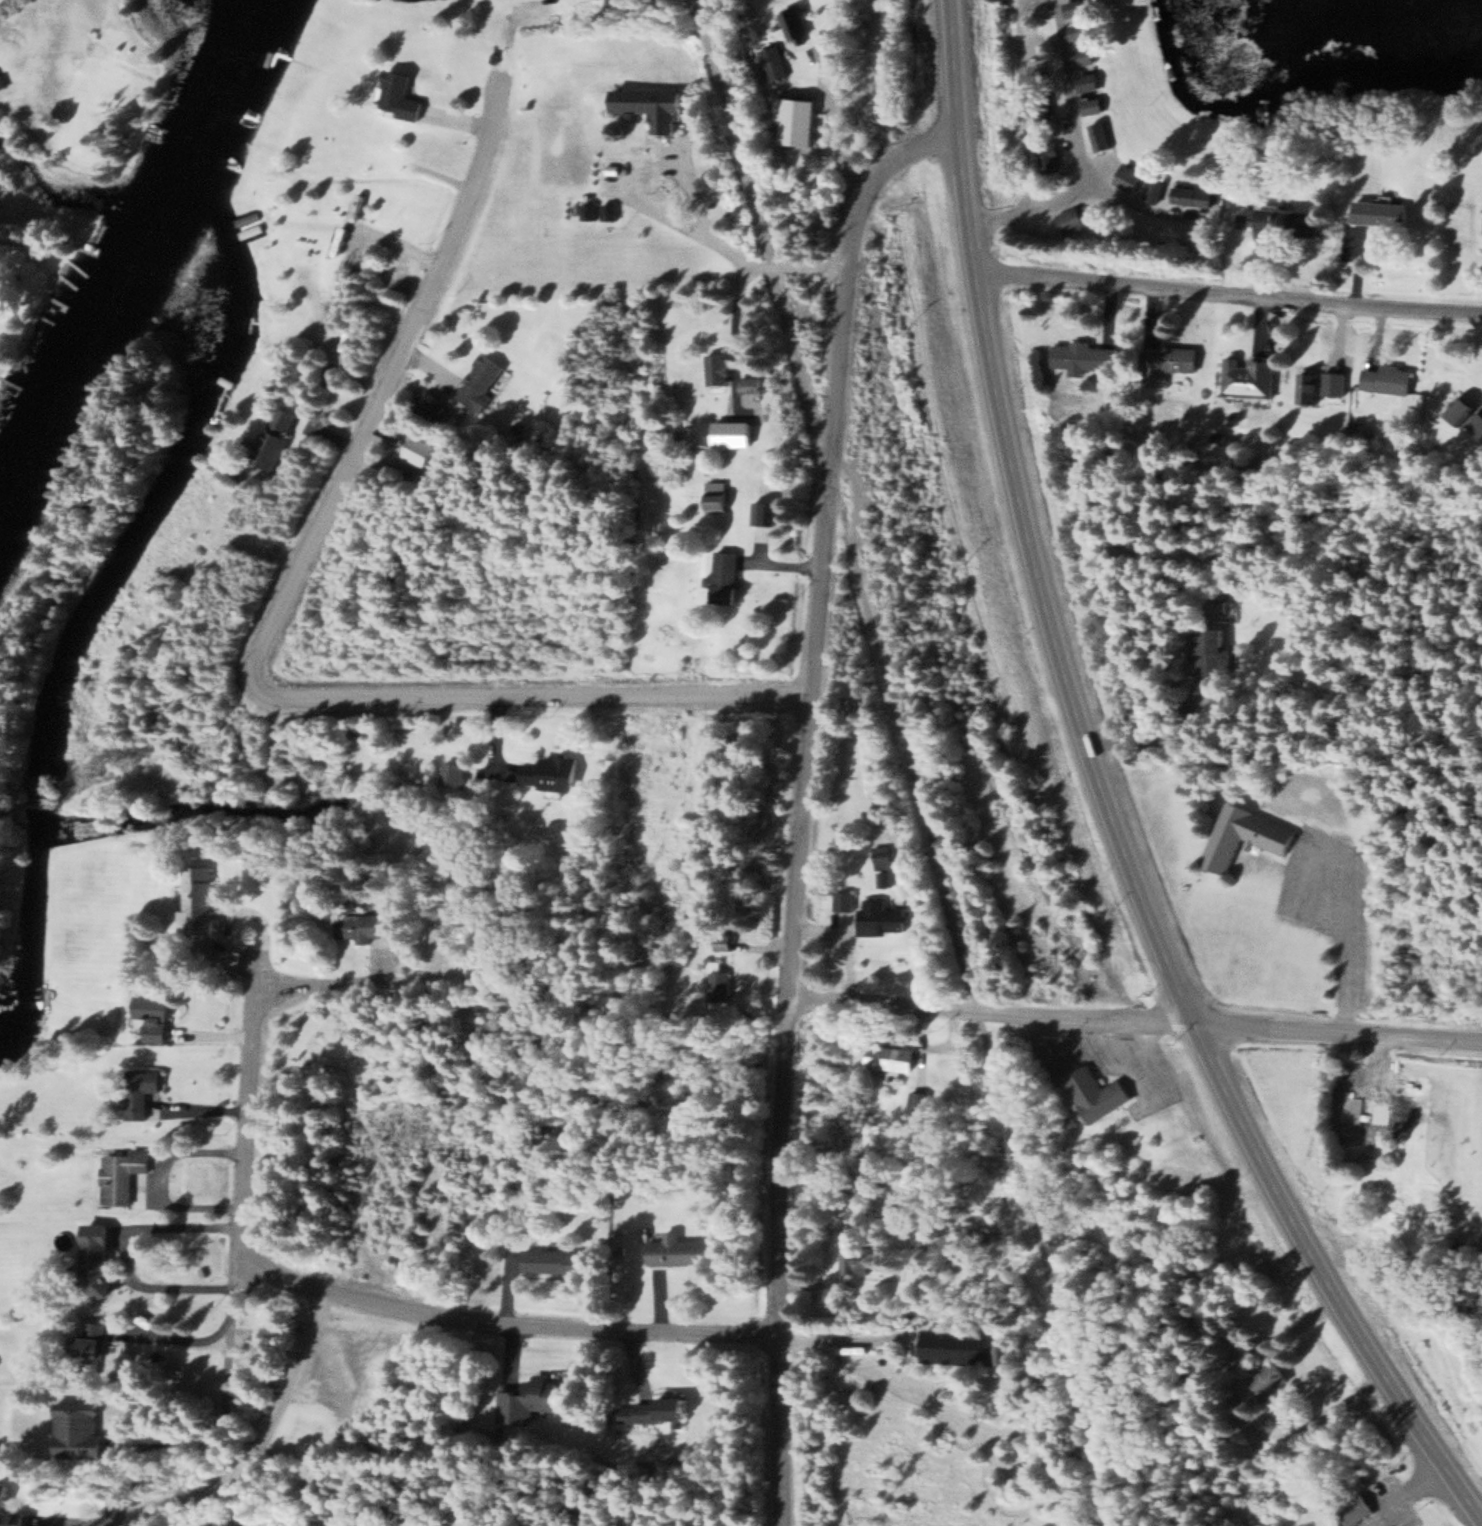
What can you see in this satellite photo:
building: (1077, 16)
building: (770, 59)
building: (1089, 81)
building: (399, 95)
road: (1074, 97)
building: (651, 104)
building: (1094, 104)
road: (1021, 106)
building: (1045, 114)
building: (1103, 135)
building: (1049, 157)
building: (1131, 177)
building: (1156, 189)
building: (1194, 194)
road: (1125, 202)
building: (586, 210)
building: (606, 210)
building: (1382, 213)
road: (998, 216)
building: (1071, 219)
building: (1291, 219)
road: (726, 250)
river: (126, 258)
road: (1230, 294)
building: (1081, 357)
building: (1176, 358)
building: (718, 368)
road: (400, 372)
building: (1249, 377)
building: (1390, 379)
building: (481, 381)
building: (752, 383)
building: (1310, 387)
building: (1465, 409)
building: (1477, 423)
building: (277, 437)
building: (718, 495)
building: (765, 512)
building: (727, 577)
building: (1225, 605)
building: (1213, 651)
road: (548, 699)
road: (907, 763)
building: (548, 772)
building: (454, 774)
road: (1108, 798)
road: (806, 799)
building: (1244, 835)
building: (882, 856)
building: (843, 900)
building: (201, 902)
building: (880, 920)
building: (368, 925)
building: (719, 982)
building: (46, 1000)
building: (150, 1016)
road: (1134, 1019)
building: (1240, 1020)
building: (890, 1057)
building: (1368, 1083)
building: (141, 1092)
building: (1094, 1093)
road: (254, 1105)
building: (917, 1105)
building: (124, 1176)
building: (681, 1249)
building: (96, 1257)
building: (557, 1260)
building: (854, 1260)
road: (551, 1330)
building: (93, 1339)
building: (962, 1346)
building: (1267, 1378)
building: (1476, 1390)
building: (531, 1399)
building: (657, 1409)
building: (78, 1430)
building: (1355, 1508)
building: (1341, 1524)

